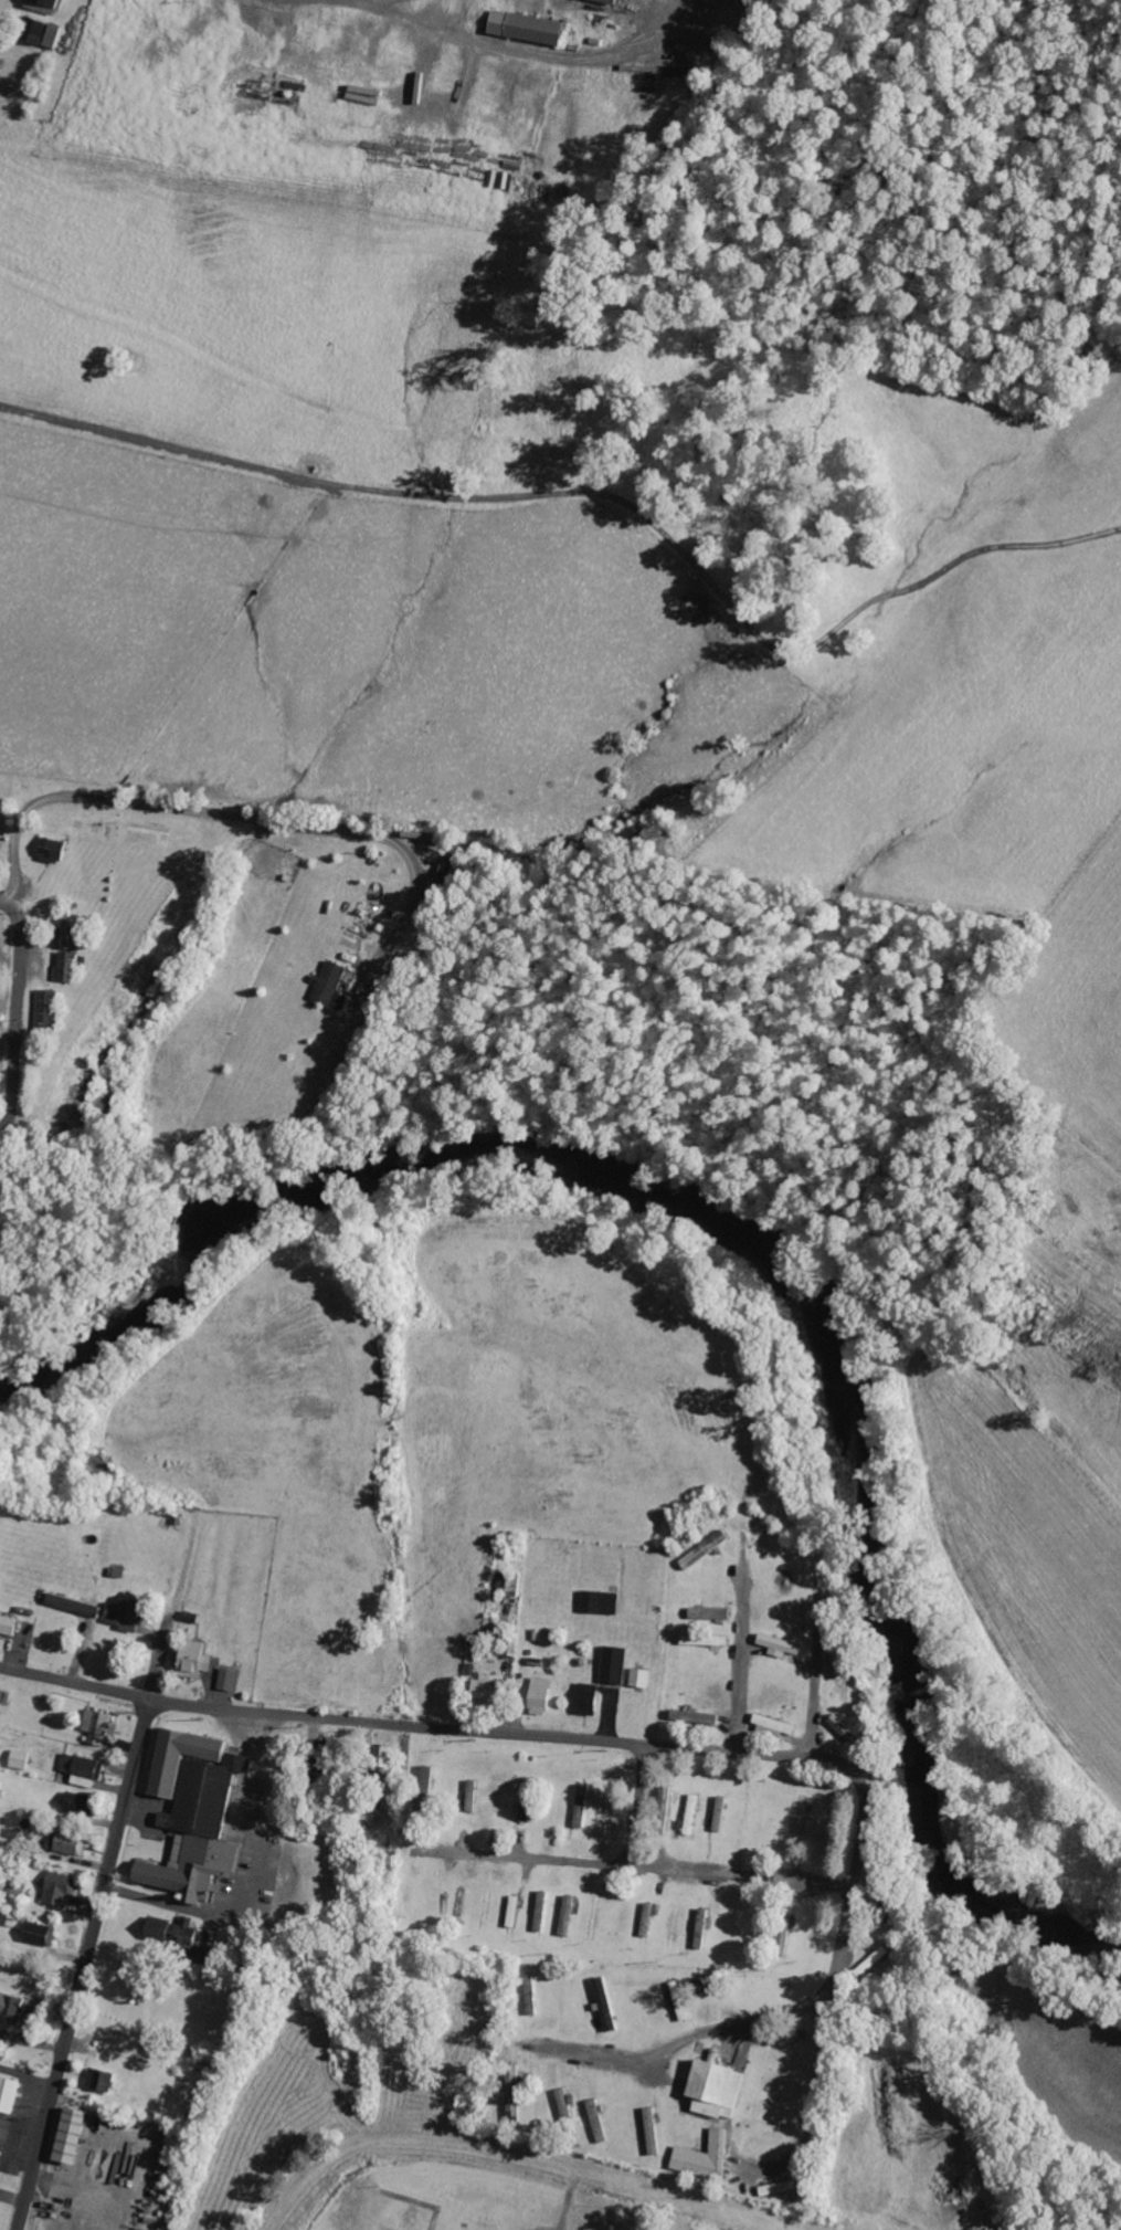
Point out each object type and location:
building: (613, 1)
building: (45, 6)
road: (382, 11)
building: (530, 27)
building: (50, 34)
road: (452, 455)
building: (55, 850)
building: (71, 938)
building: (70, 968)
building: (332, 986)
building: (49, 1002)
road: (17, 1016)
road: (758, 1545)
road: (83, 1554)
building: (595, 1602)
building: (705, 1613)
building: (133, 1614)
building: (9, 1623)
building: (775, 1645)
building: (610, 1664)
building: (197, 1665)
road: (741, 1668)
building: (635, 1677)
building: (230, 1679)
building: (483, 1687)
building: (581, 1700)
road: (813, 1707)
building: (691, 1717)
building: (769, 1723)
building: (99, 1726)
road: (404, 1727)
building: (838, 1727)
building: (22, 1759)
building: (83, 1770)
building: (424, 1782)
building: (468, 1796)
building: (80, 1803)
building: (578, 1806)
road: (637, 1807)
building: (660, 1809)
building: (198, 1811)
building: (716, 1814)
building: (795, 1820)
building: (73, 1844)
road: (639, 1868)
building: (61, 1889)
building: (538, 1911)
building: (509, 1912)
building: (563, 1915)
building: (160, 1928)
building: (40, 1934)
building: (780, 1935)
road: (84, 1966)
building: (864, 1966)
road: (836, 1967)
building: (528, 1995)
building: (675, 2001)
building: (602, 2003)
building: (13, 2007)
road: (686, 2041)
building: (102, 2080)
building: (709, 2089)
building: (9, 2096)
building: (593, 2121)
building: (648, 2132)
building: (77, 2136)
road: (504, 2155)
building: (700, 2157)
building: (774, 2188)

